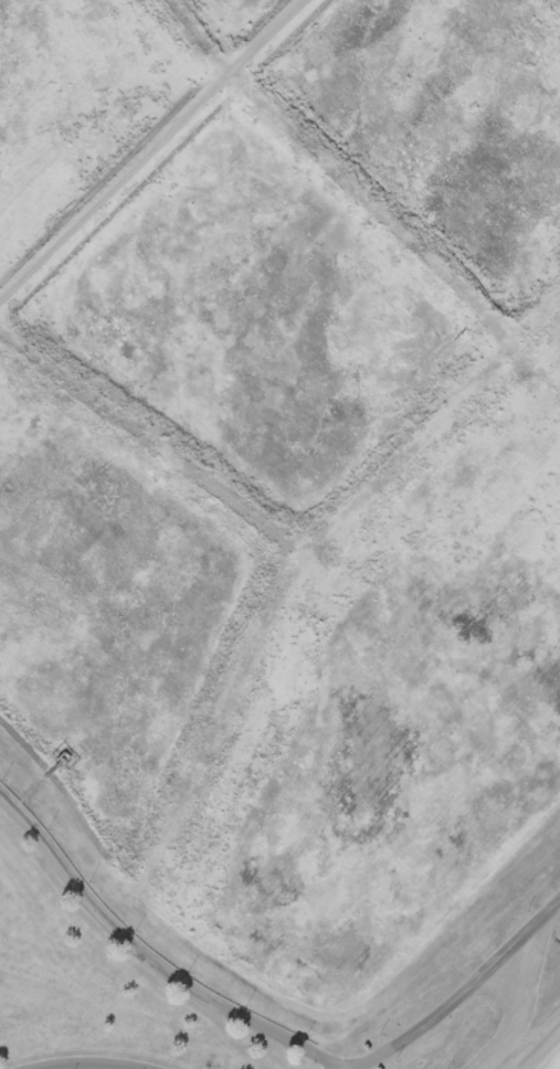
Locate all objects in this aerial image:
wastewater plant: (279, 534)
road: (148, 956)
road: (472, 1001)
road: (513, 1017)
road: (536, 1047)
road: (97, 1062)

